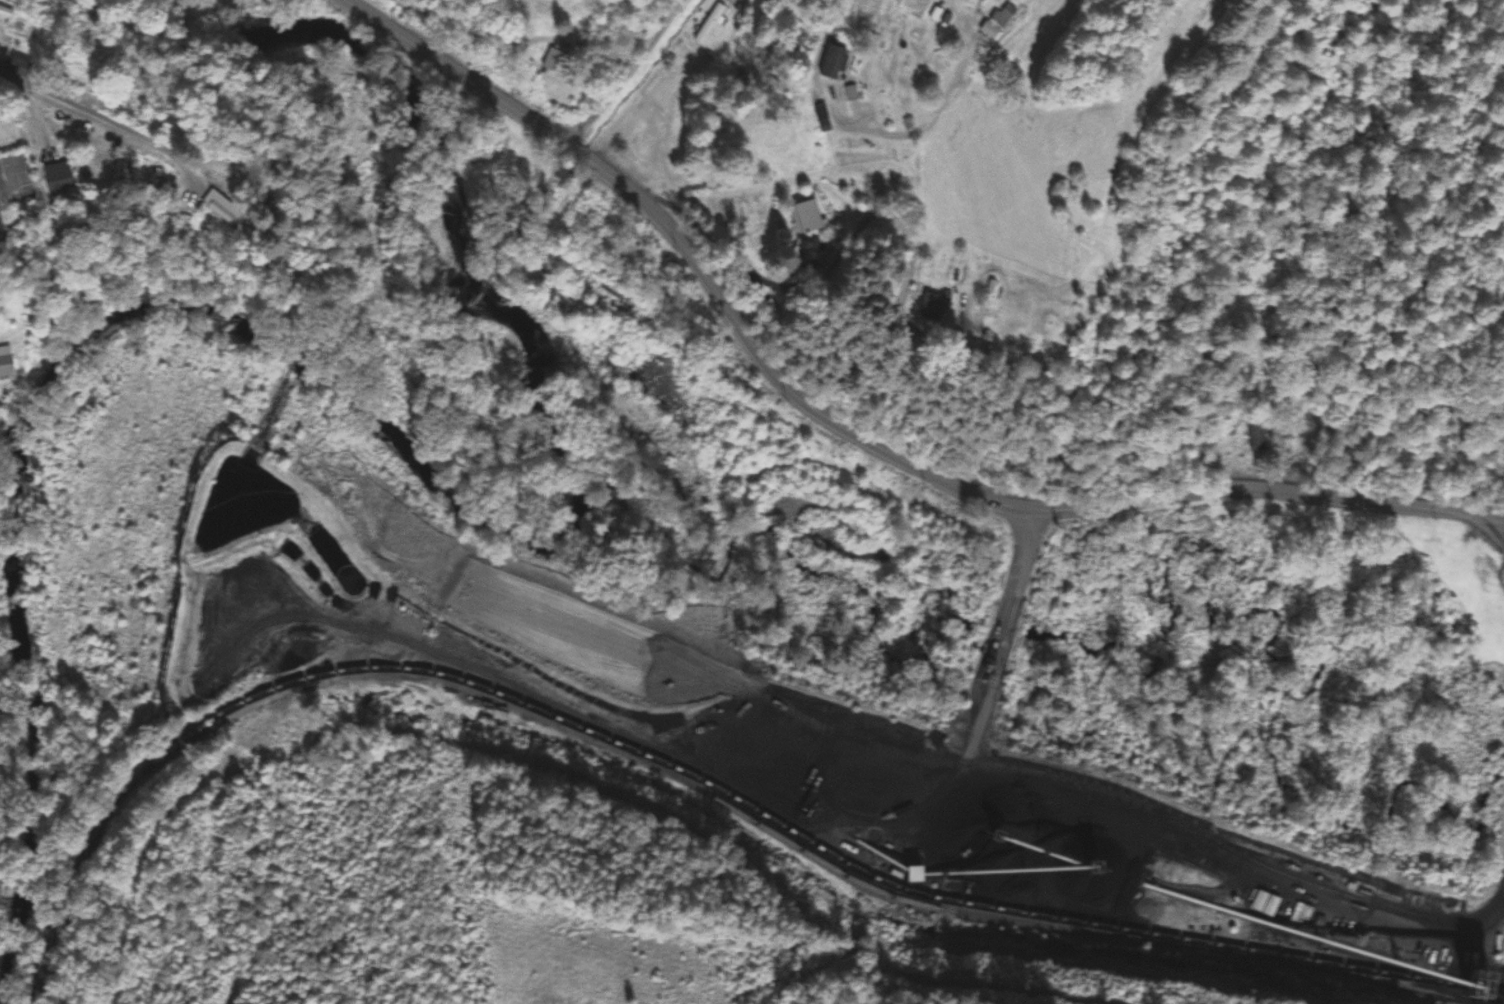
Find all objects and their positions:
building: (980, 1)
building: (5, 13)
building: (1005, 16)
building: (714, 22)
building: (553, 63)
building: (834, 64)
building: (18, 66)
road: (626, 75)
road: (820, 90)
road: (81, 108)
building: (817, 112)
building: (53, 114)
building: (56, 180)
building: (806, 216)
road: (860, 229)
building: (0, 241)
building: (808, 252)
building: (932, 305)
building: (5, 361)
river: (335, 394)
road: (850, 430)
building: (1255, 432)
river: (725, 452)
quarry: (723, 743)
railway: (688, 775)
building: (1266, 904)
railway: (1018, 922)

